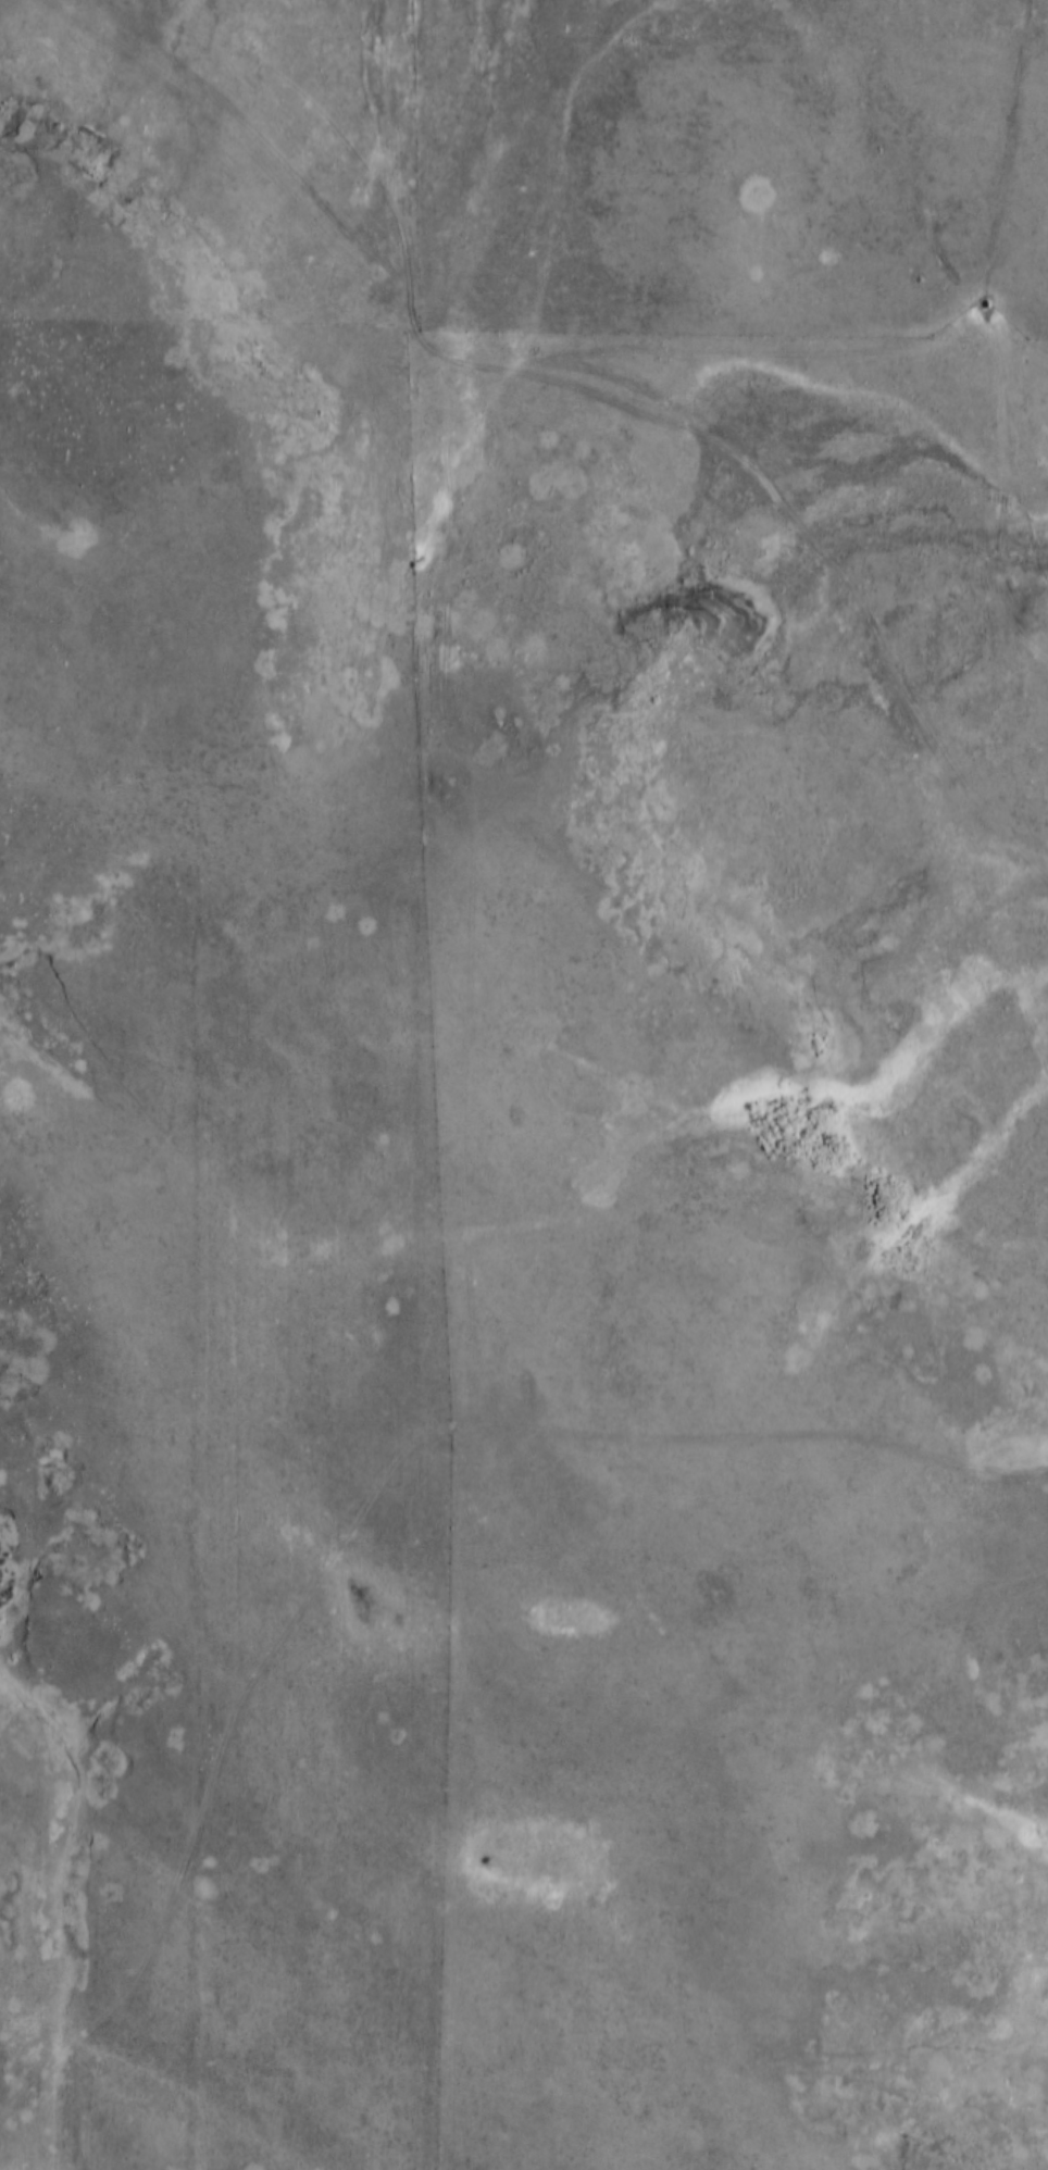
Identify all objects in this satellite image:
road: (601, 399)
road: (404, 1557)

